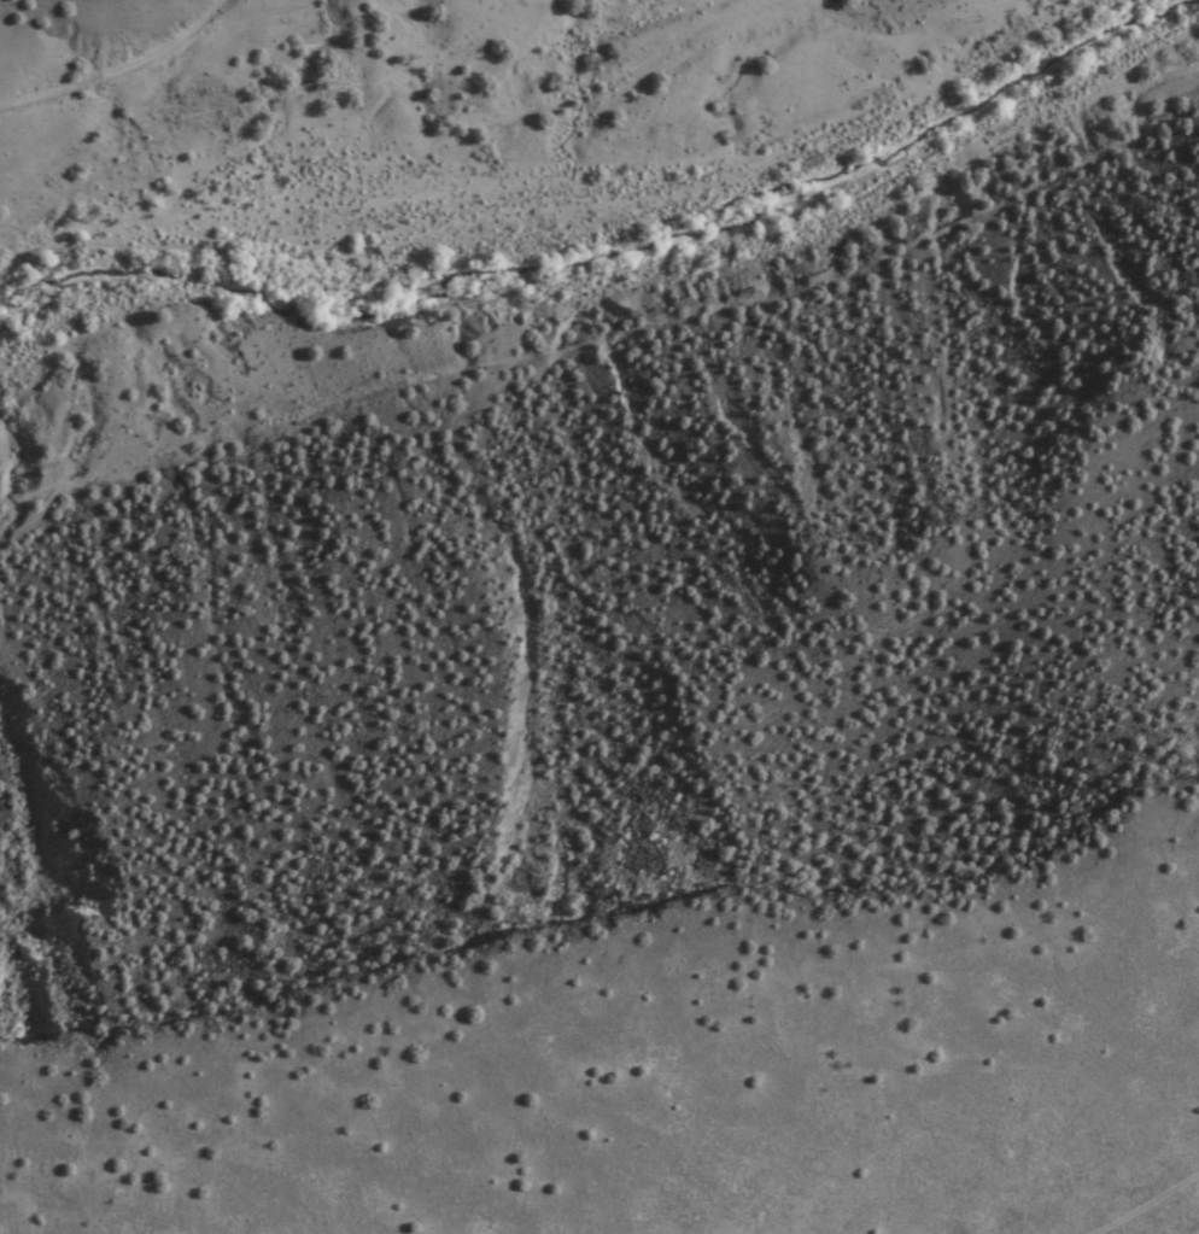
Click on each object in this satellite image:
road: (115, 63)
river: (558, 187)
road: (609, 337)

